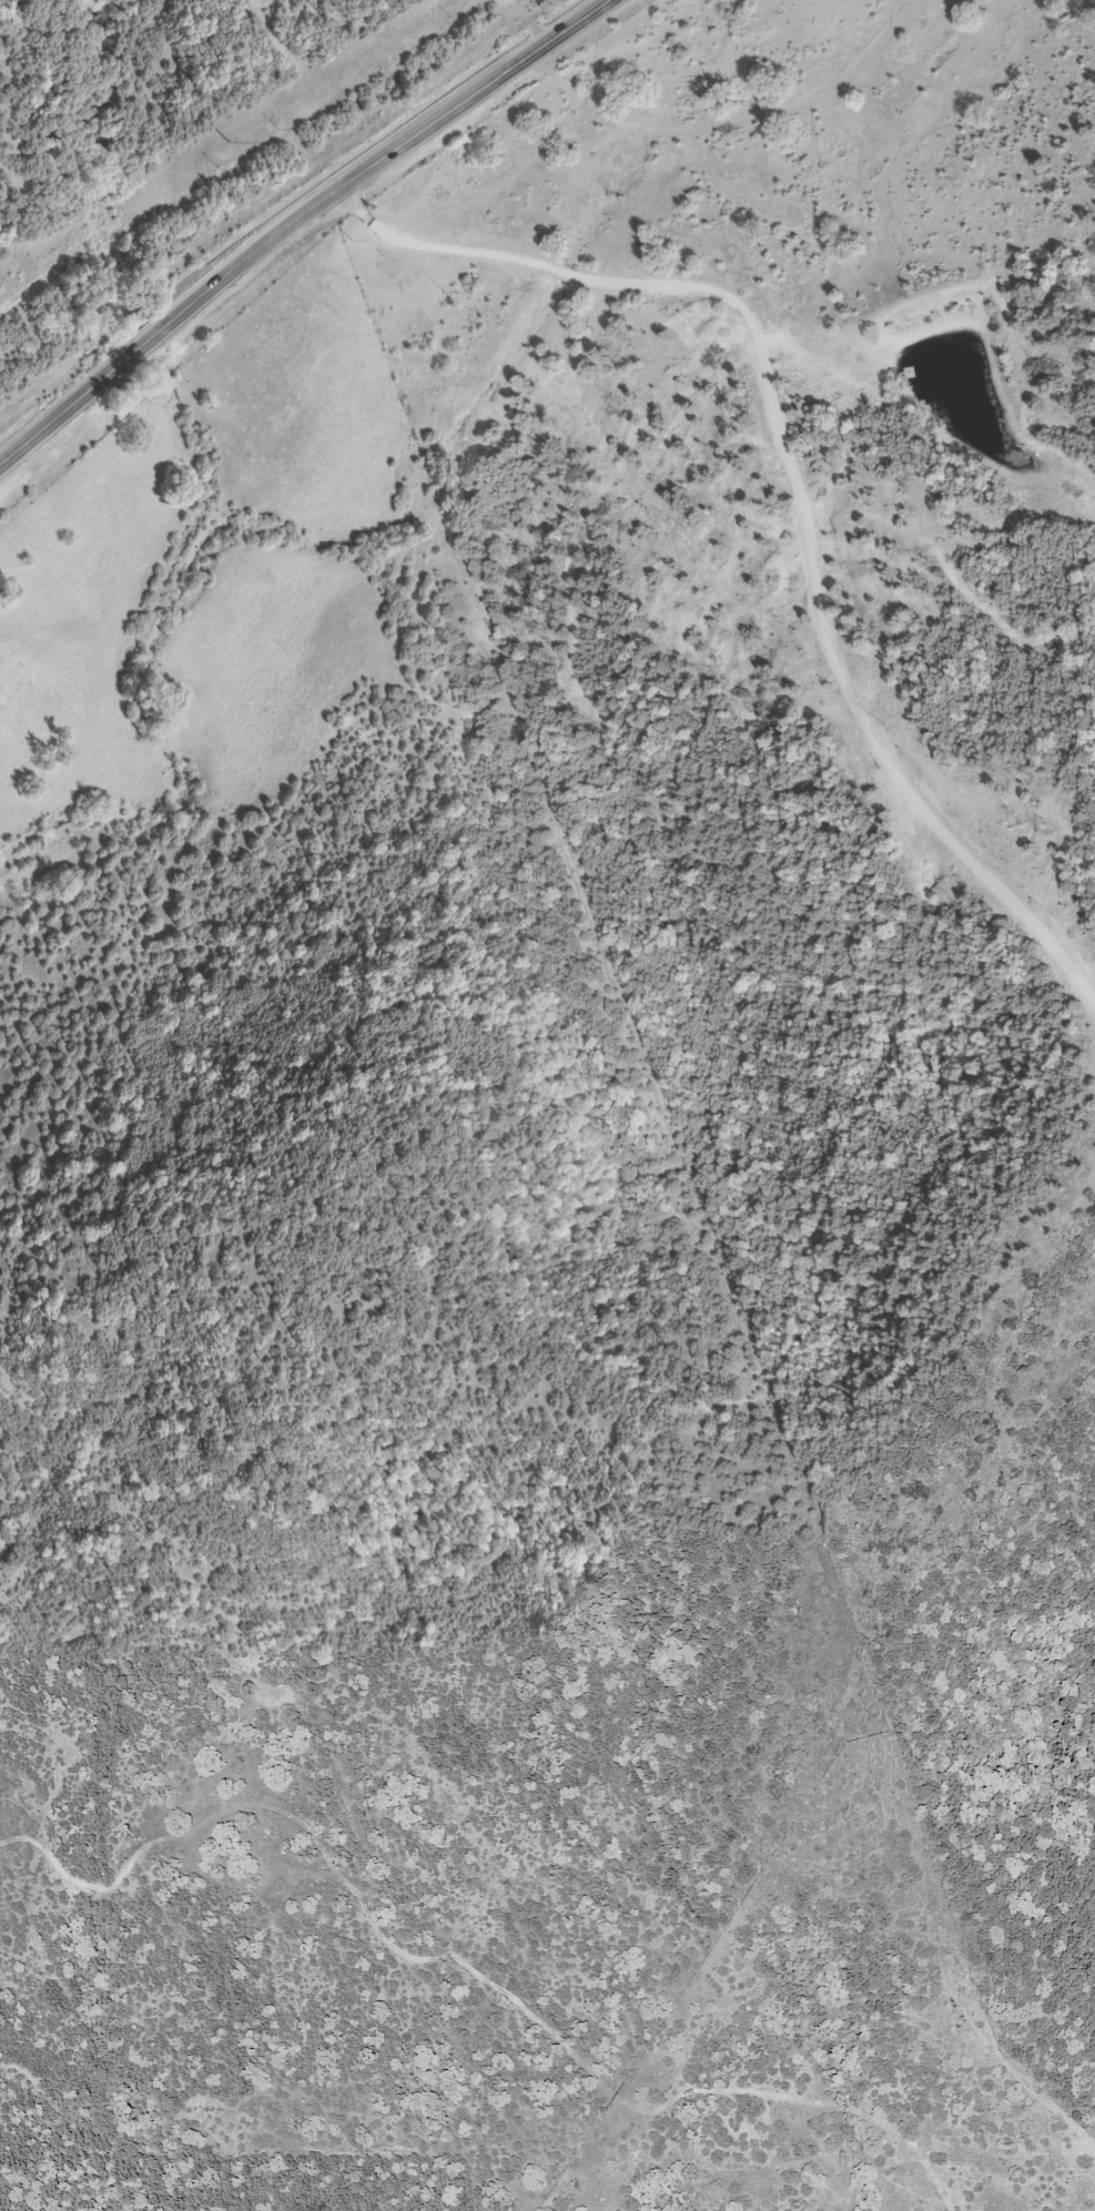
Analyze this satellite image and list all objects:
power tower: (229, 144)
road: (297, 221)
road: (799, 476)

